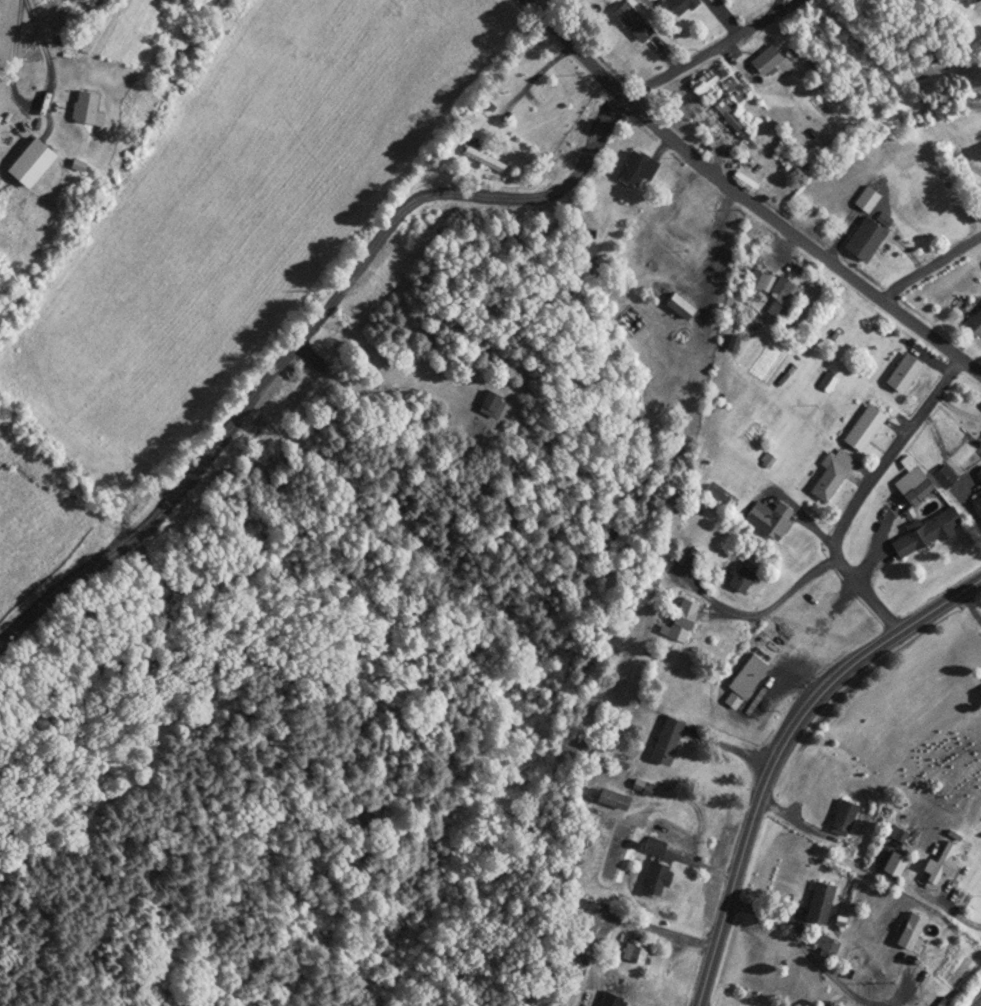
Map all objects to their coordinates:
building: (676, 5)
building: (630, 21)
road: (707, 49)
building: (762, 60)
road: (32, 101)
building: (81, 108)
building: (728, 120)
building: (481, 157)
building: (25, 162)
building: (632, 168)
road: (743, 198)
building: (921, 201)
building: (861, 240)
building: (665, 248)
road: (929, 265)
building: (753, 279)
building: (778, 300)
building: (675, 306)
building: (976, 323)
road: (304, 331)
building: (900, 373)
building: (487, 404)
building: (861, 428)
building: (826, 475)
building: (942, 476)
building: (916, 484)
building: (968, 489)
road: (859, 491)
building: (671, 507)
building: (773, 520)
building: (922, 531)
building: (738, 579)
building: (676, 618)
building: (751, 664)
building: (979, 690)
building: (662, 739)
road: (781, 752)
building: (609, 797)
building: (842, 817)
building: (895, 835)
building: (651, 846)
building: (939, 862)
building: (653, 880)
building: (817, 901)
building: (588, 916)
building: (907, 931)
building: (825, 943)
building: (630, 952)
road: (972, 998)

